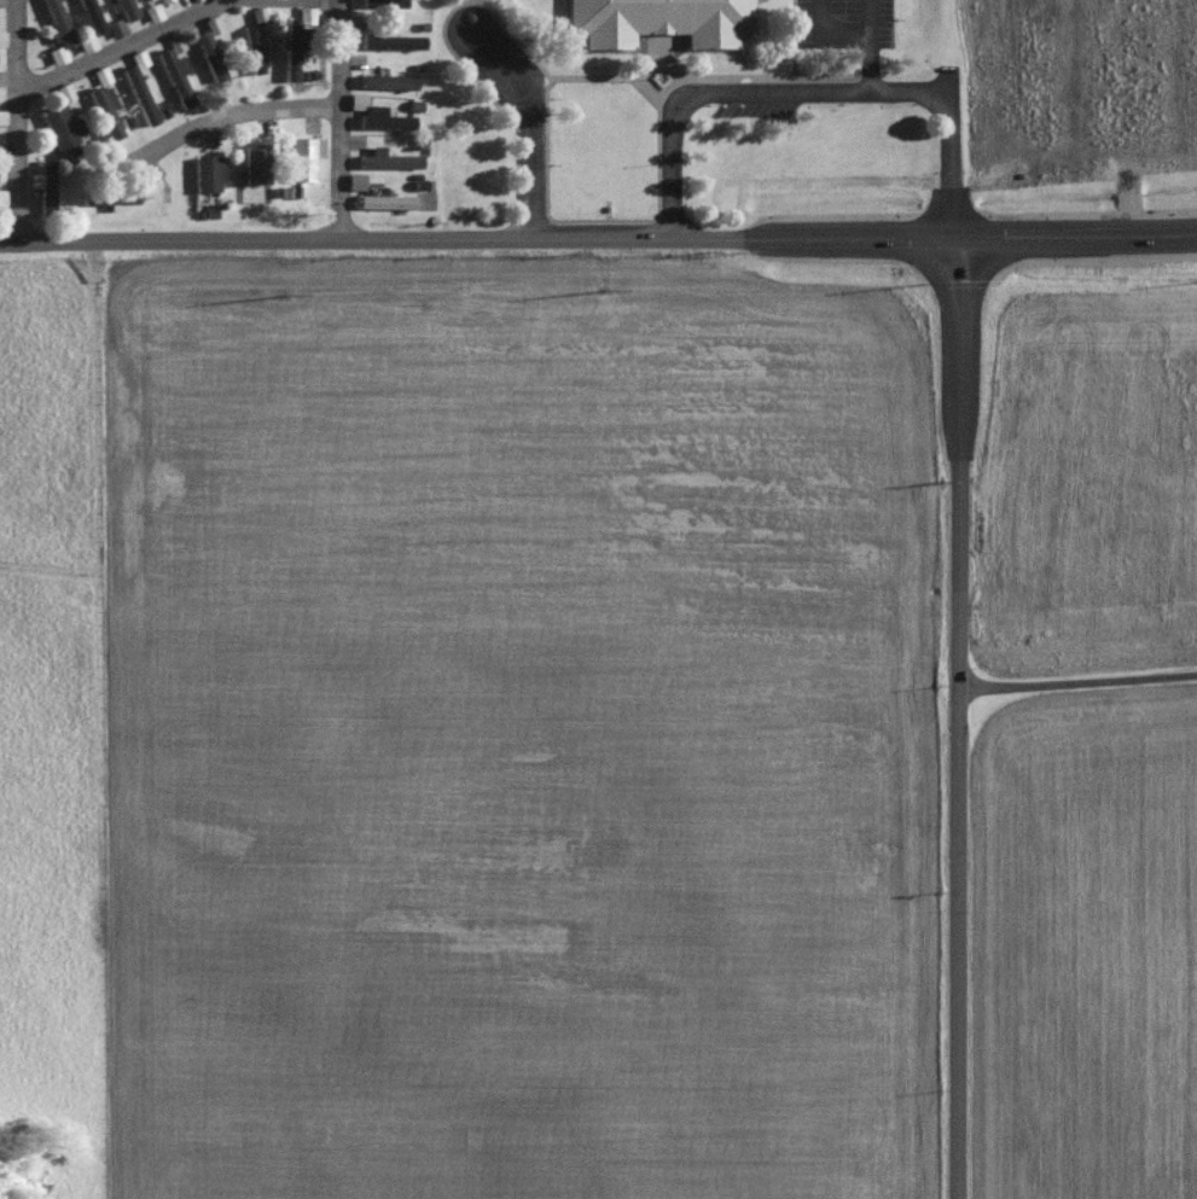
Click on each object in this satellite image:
building: (161, 0)
building: (380, 2)
road: (492, 2)
road: (498, 2)
building: (124, 7)
building: (257, 12)
building: (86, 17)
building: (670, 21)
building: (211, 22)
parking lot: (856, 22)
building: (57, 23)
building: (114, 25)
road: (843, 33)
building: (1, 36)
building: (390, 39)
road: (806, 41)
road: (149, 46)
building: (251, 47)
road: (882, 47)
road: (470, 50)
road: (670, 50)
building: (56, 52)
building: (208, 54)
road: (471, 65)
building: (174, 74)
road: (658, 74)
building: (385, 78)
road: (606, 83)
building: (63, 89)
building: (139, 92)
road: (820, 97)
building: (103, 107)
building: (376, 112)
building: (1, 114)
road: (548, 114)
road: (339, 117)
road: (28, 118)
road: (236, 120)
road: (535, 123)
building: (60, 124)
building: (302, 155)
building: (387, 157)
building: (254, 161)
building: (207, 170)
building: (354, 179)
road: (672, 179)
building: (40, 186)
building: (114, 193)
road: (548, 194)
building: (1, 196)
building: (383, 197)
road: (1077, 234)
road: (478, 237)
road: (1076, 677)
road: (954, 716)

